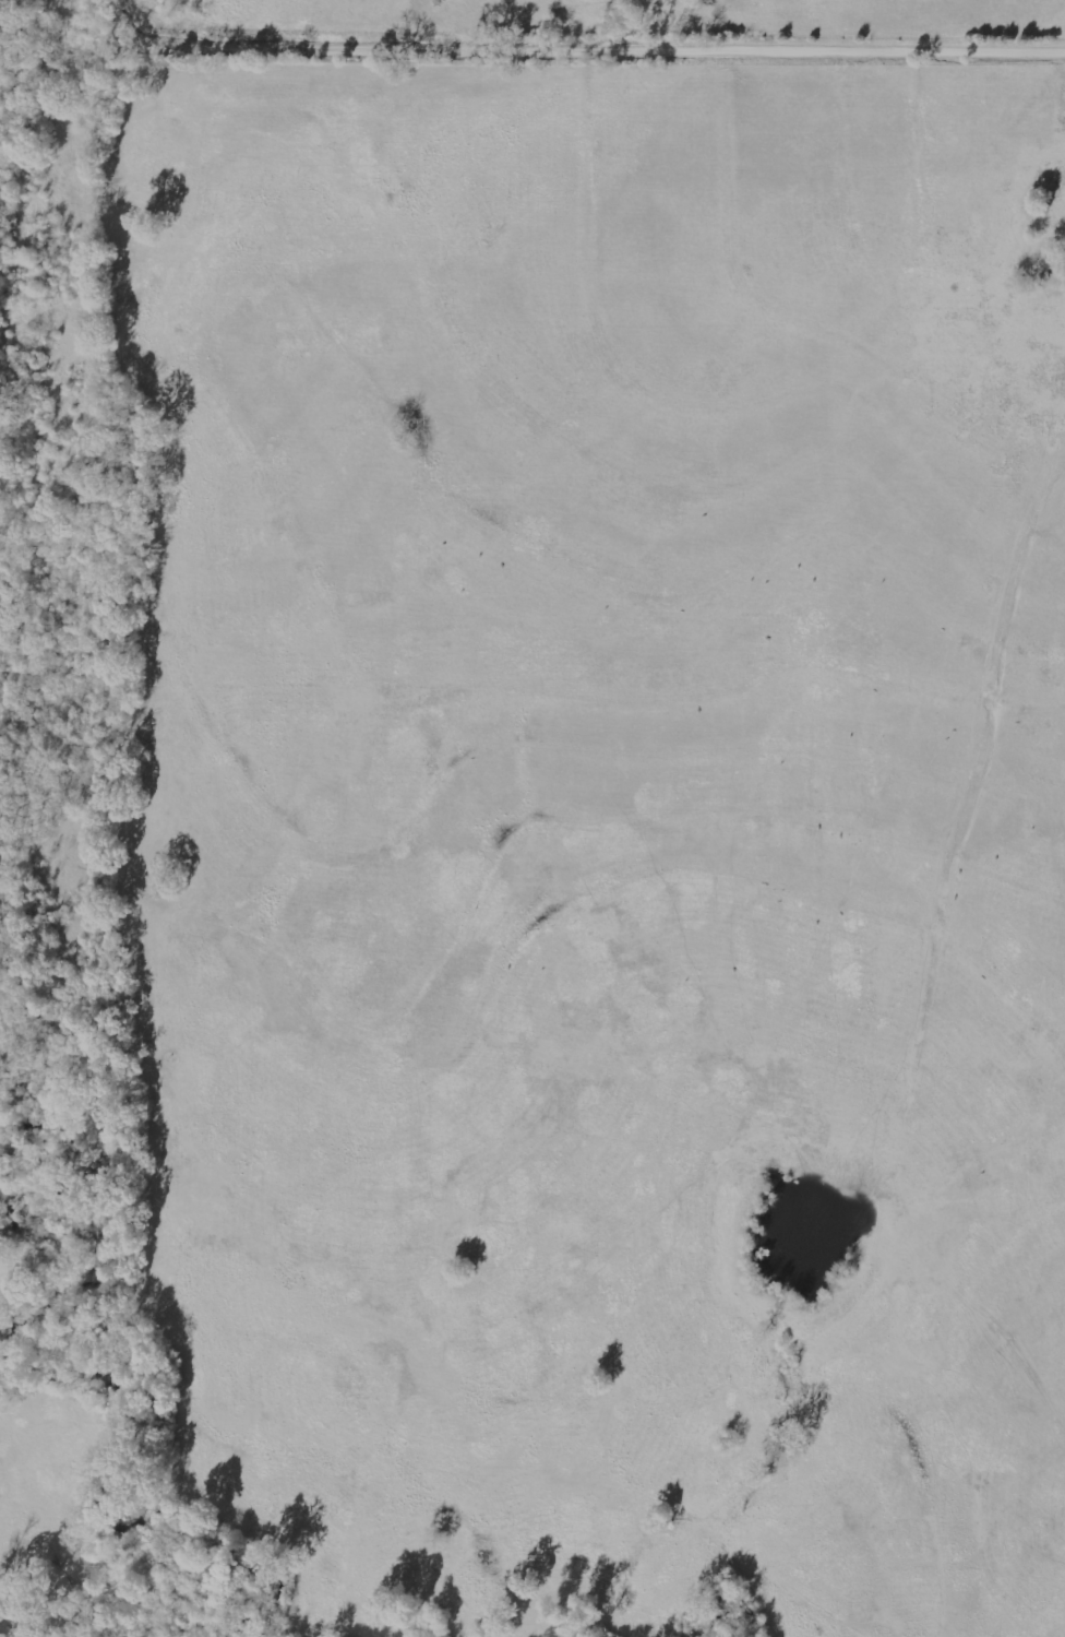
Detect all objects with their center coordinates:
road: (571, 58)

